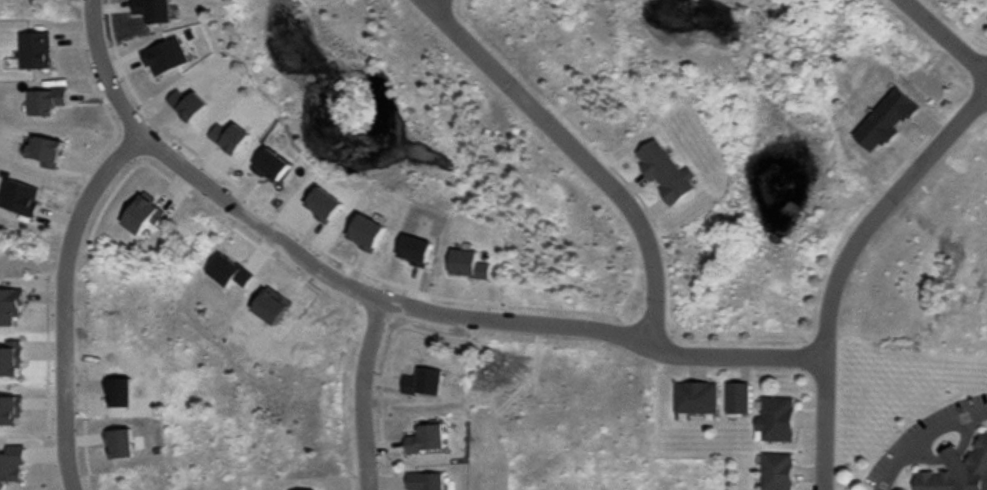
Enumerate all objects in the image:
road: (947, 39)
building: (28, 50)
building: (163, 55)
building: (46, 101)
building: (885, 120)
building: (43, 150)
road: (578, 151)
building: (653, 160)
building: (675, 184)
building: (19, 197)
building: (142, 214)
building: (415, 250)
road: (840, 261)
building: (467, 264)
building: (228, 271)
road: (385, 297)
road: (60, 298)
building: (6, 301)
building: (11, 359)
road: (359, 391)
building: (732, 395)
building: (689, 396)
building: (771, 416)
road: (962, 431)
road: (920, 434)
building: (417, 436)
building: (119, 442)
road: (922, 449)
road: (945, 456)
building: (9, 461)
building: (953, 469)
building: (771, 470)
building: (418, 479)

